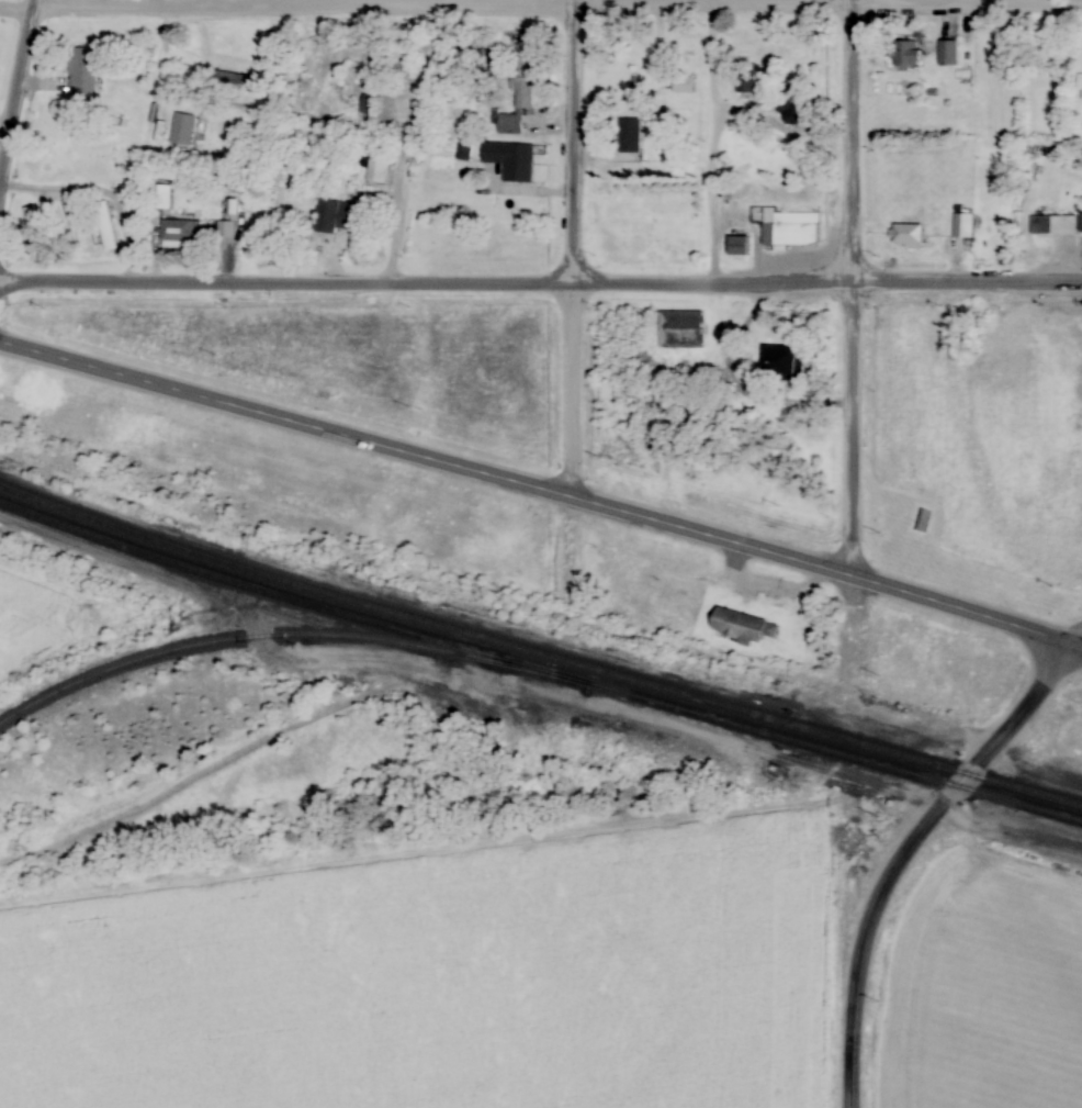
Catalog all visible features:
road: (319, 3)
road: (560, 8)
road: (19, 9)
building: (947, 54)
building: (906, 55)
building: (90, 72)
building: (235, 79)
building: (1079, 81)
building: (752, 85)
building: (531, 86)
building: (690, 86)
building: (368, 105)
building: (800, 112)
road: (19, 114)
building: (517, 125)
building: (189, 131)
building: (636, 137)
building: (470, 154)
building: (518, 163)
building: (341, 217)
building: (1080, 224)
building: (1041, 225)
building: (969, 226)
building: (112, 227)
building: (800, 230)
building: (42, 231)
building: (187, 233)
building: (913, 237)
building: (737, 246)
road: (581, 248)
road: (970, 283)
road: (428, 284)
road: (858, 287)
building: (676, 329)
building: (782, 362)
building: (674, 402)
road: (542, 489)
building: (744, 626)
railway: (284, 635)
road: (1075, 641)
railway: (538, 652)
railway: (538, 668)
road: (993, 749)
road: (856, 971)
crop: (432, 980)

